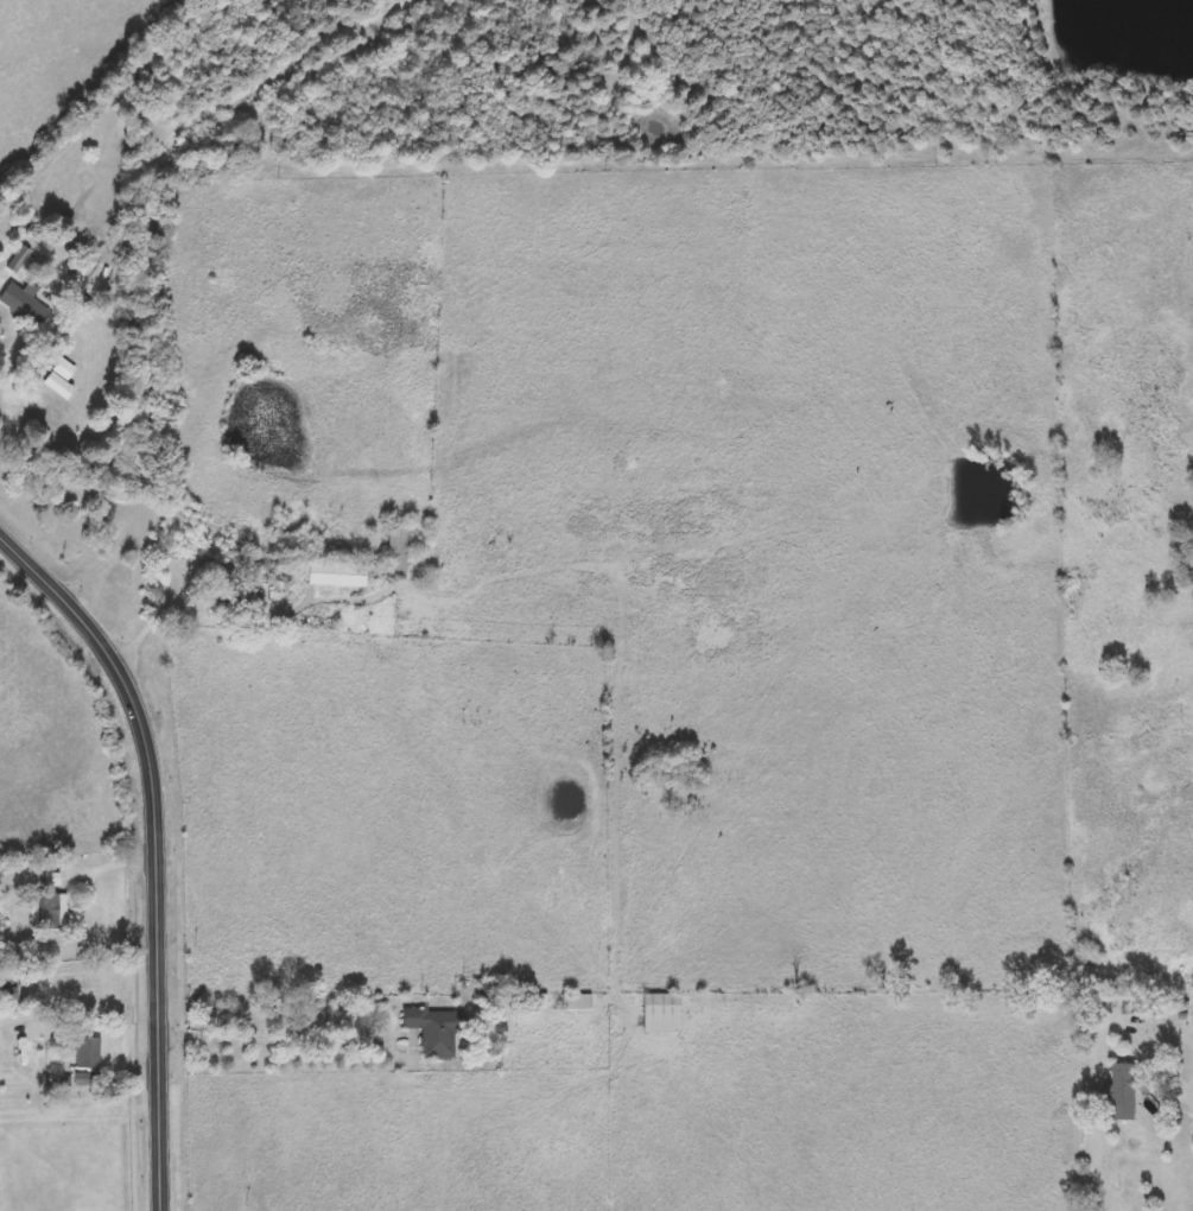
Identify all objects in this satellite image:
building: (24, 305)
road: (11, 338)
building: (398, 552)
building: (336, 575)
building: (224, 585)
road: (261, 617)
road: (160, 841)
road: (81, 867)
building: (46, 913)
building: (577, 1004)
building: (1137, 1007)
building: (661, 1014)
road: (1174, 1027)
building: (437, 1033)
road: (316, 1040)
building: (82, 1053)
building: (1125, 1091)

